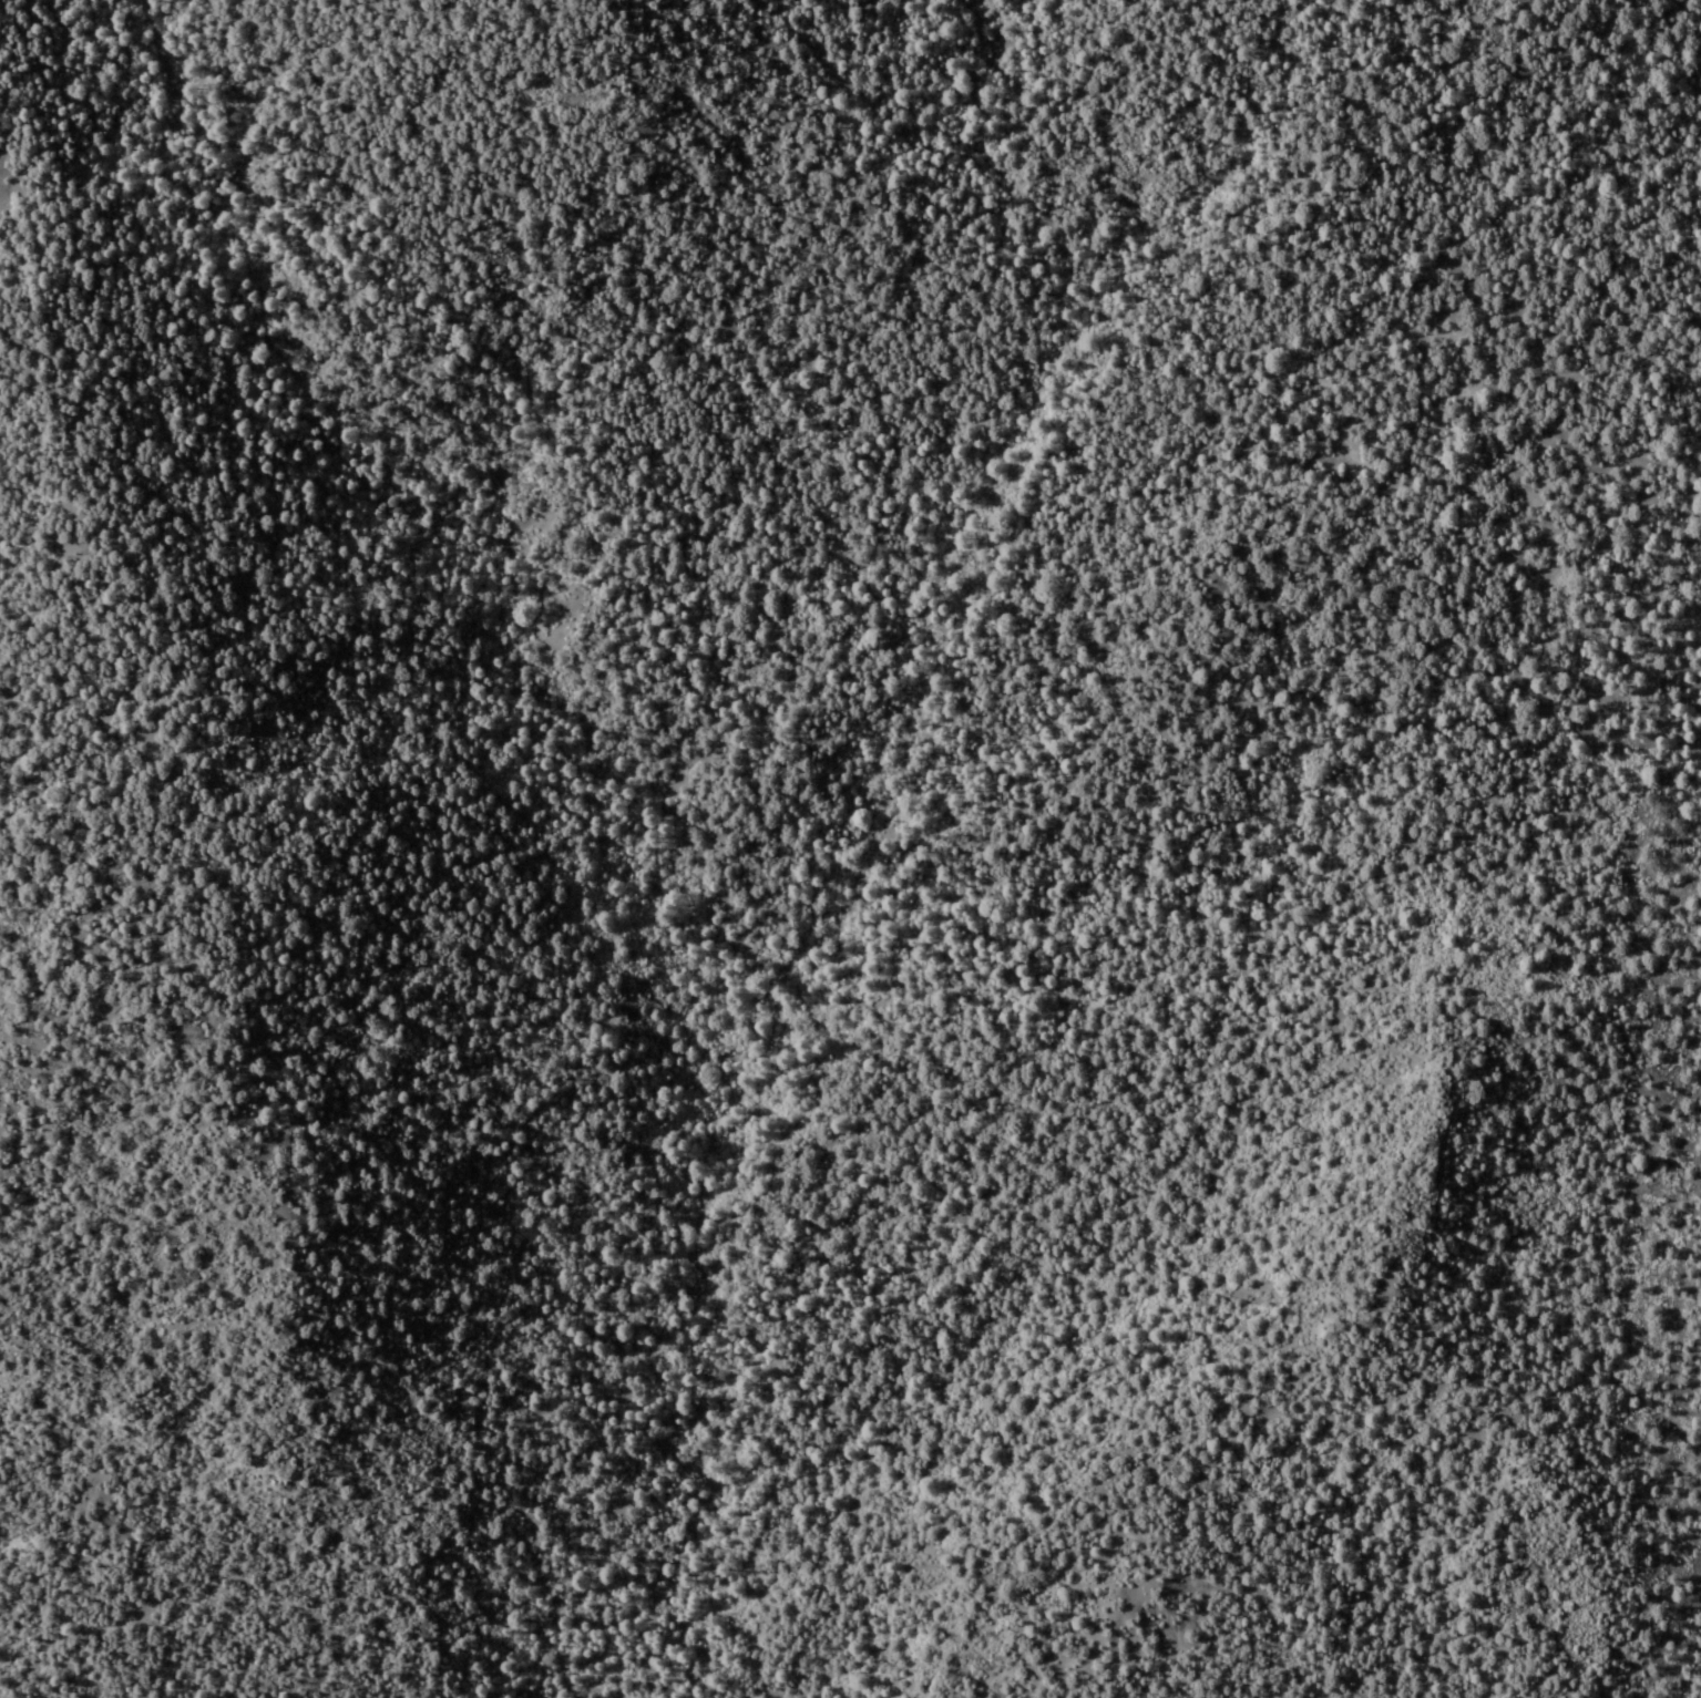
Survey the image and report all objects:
road: (1459, 312)
road: (1689, 1680)

